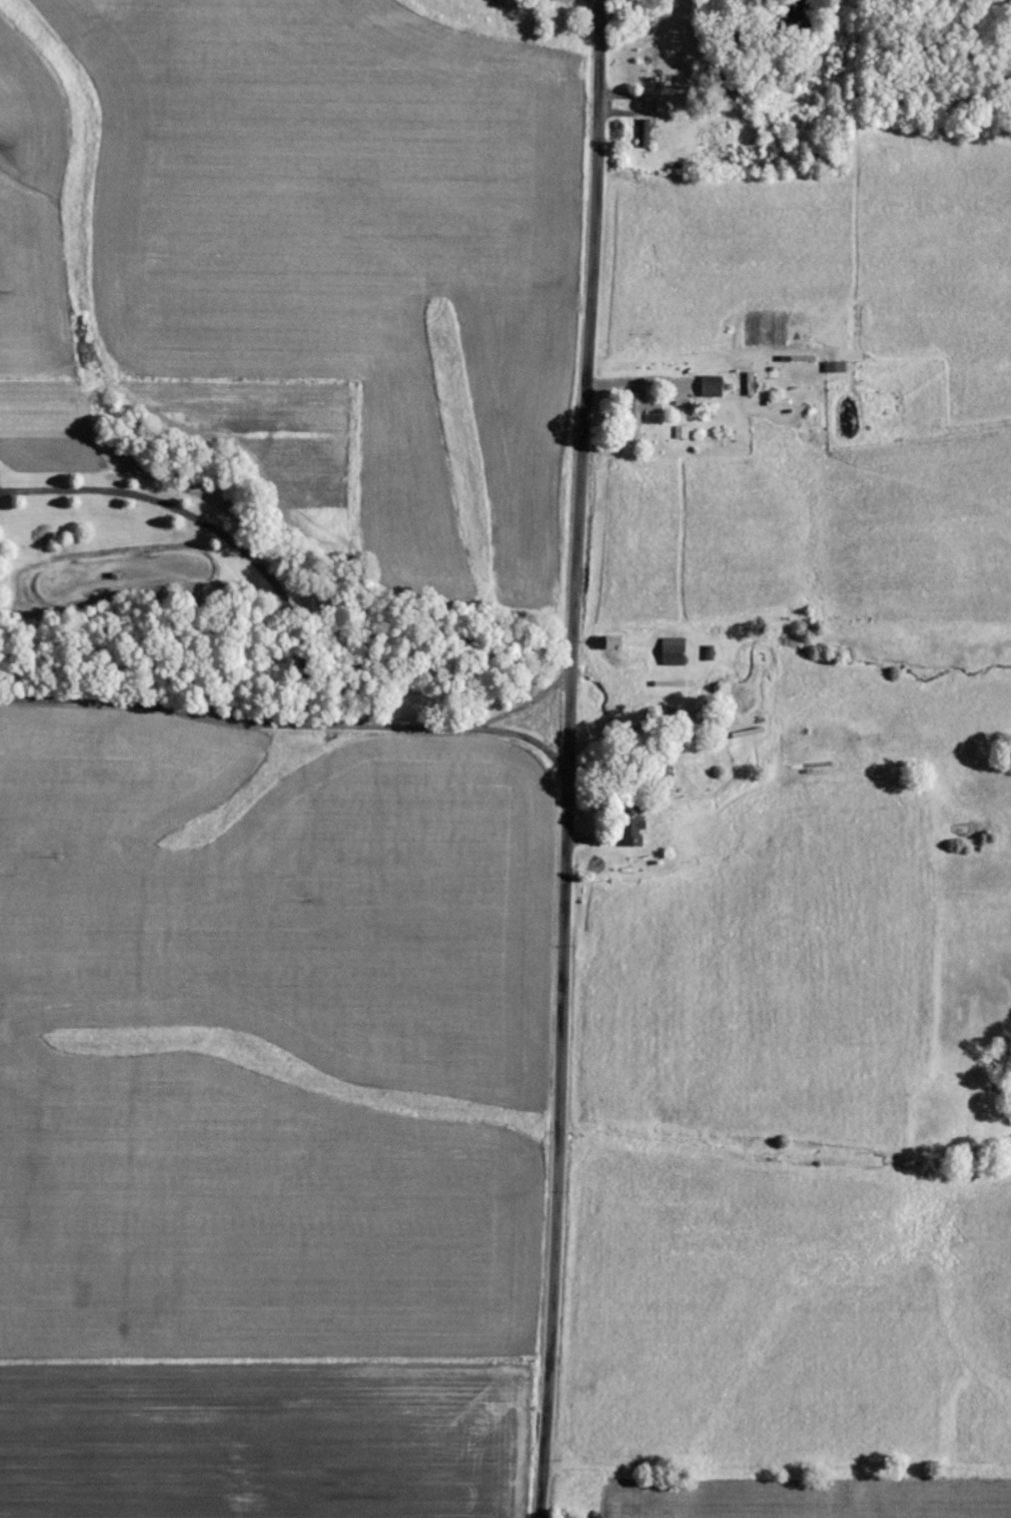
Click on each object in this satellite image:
building: (837, 368)
building: (714, 388)
building: (647, 408)
building: (683, 433)
building: (619, 644)
building: (676, 652)
road: (526, 708)
road: (291, 724)
road: (568, 758)
building: (635, 829)

